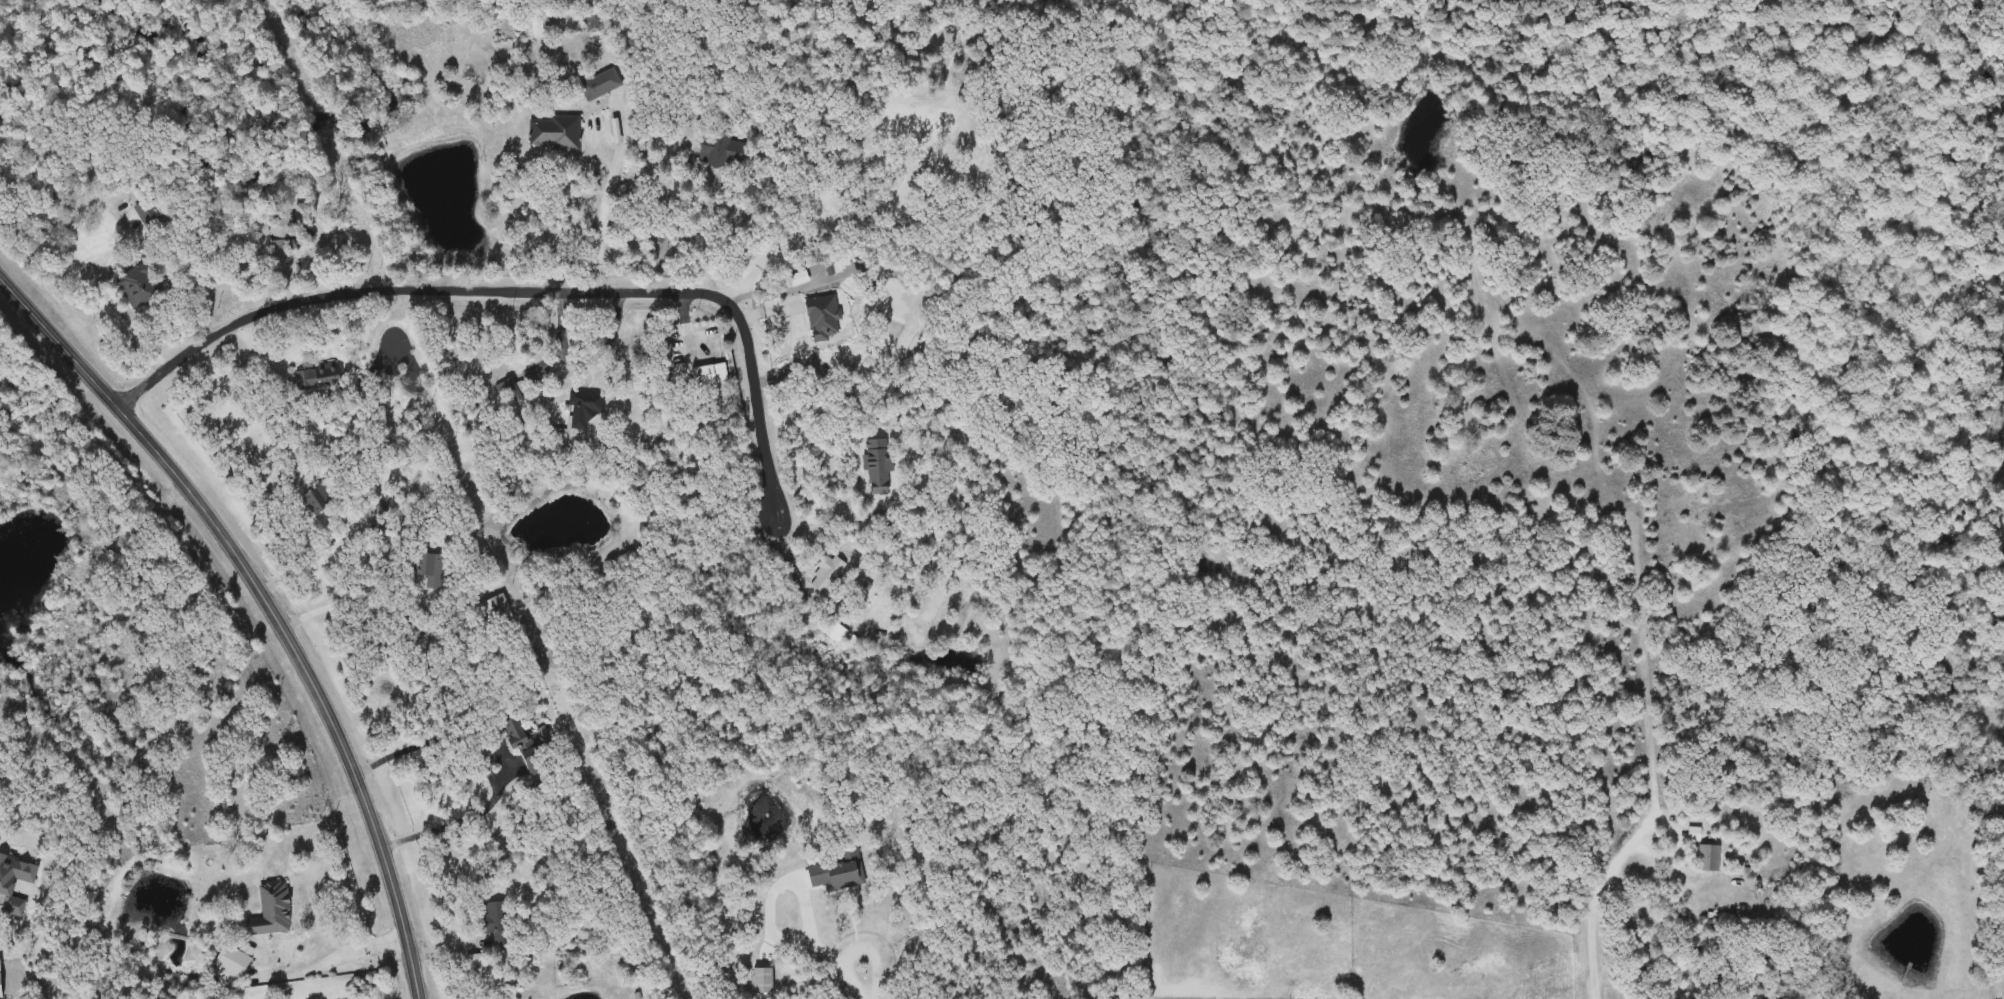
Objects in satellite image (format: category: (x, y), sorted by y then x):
building: (535, 26)
building: (600, 85)
building: (554, 134)
building: (720, 151)
road: (607, 195)
building: (149, 215)
road: (703, 227)
road: (338, 262)
building: (797, 279)
building: (140, 287)
road: (508, 289)
building: (822, 317)
road: (138, 330)
road: (559, 353)
road: (234, 373)
building: (319, 378)
building: (586, 408)
building: (877, 467)
road: (810, 524)
road: (312, 569)
building: (431, 570)
road: (350, 599)
road: (271, 601)
building: (493, 608)
road: (429, 743)
road: (472, 817)
building: (1709, 858)
road: (854, 865)
building: (831, 876)
road: (1597, 903)
building: (488, 917)
road: (325, 964)
building: (756, 980)

